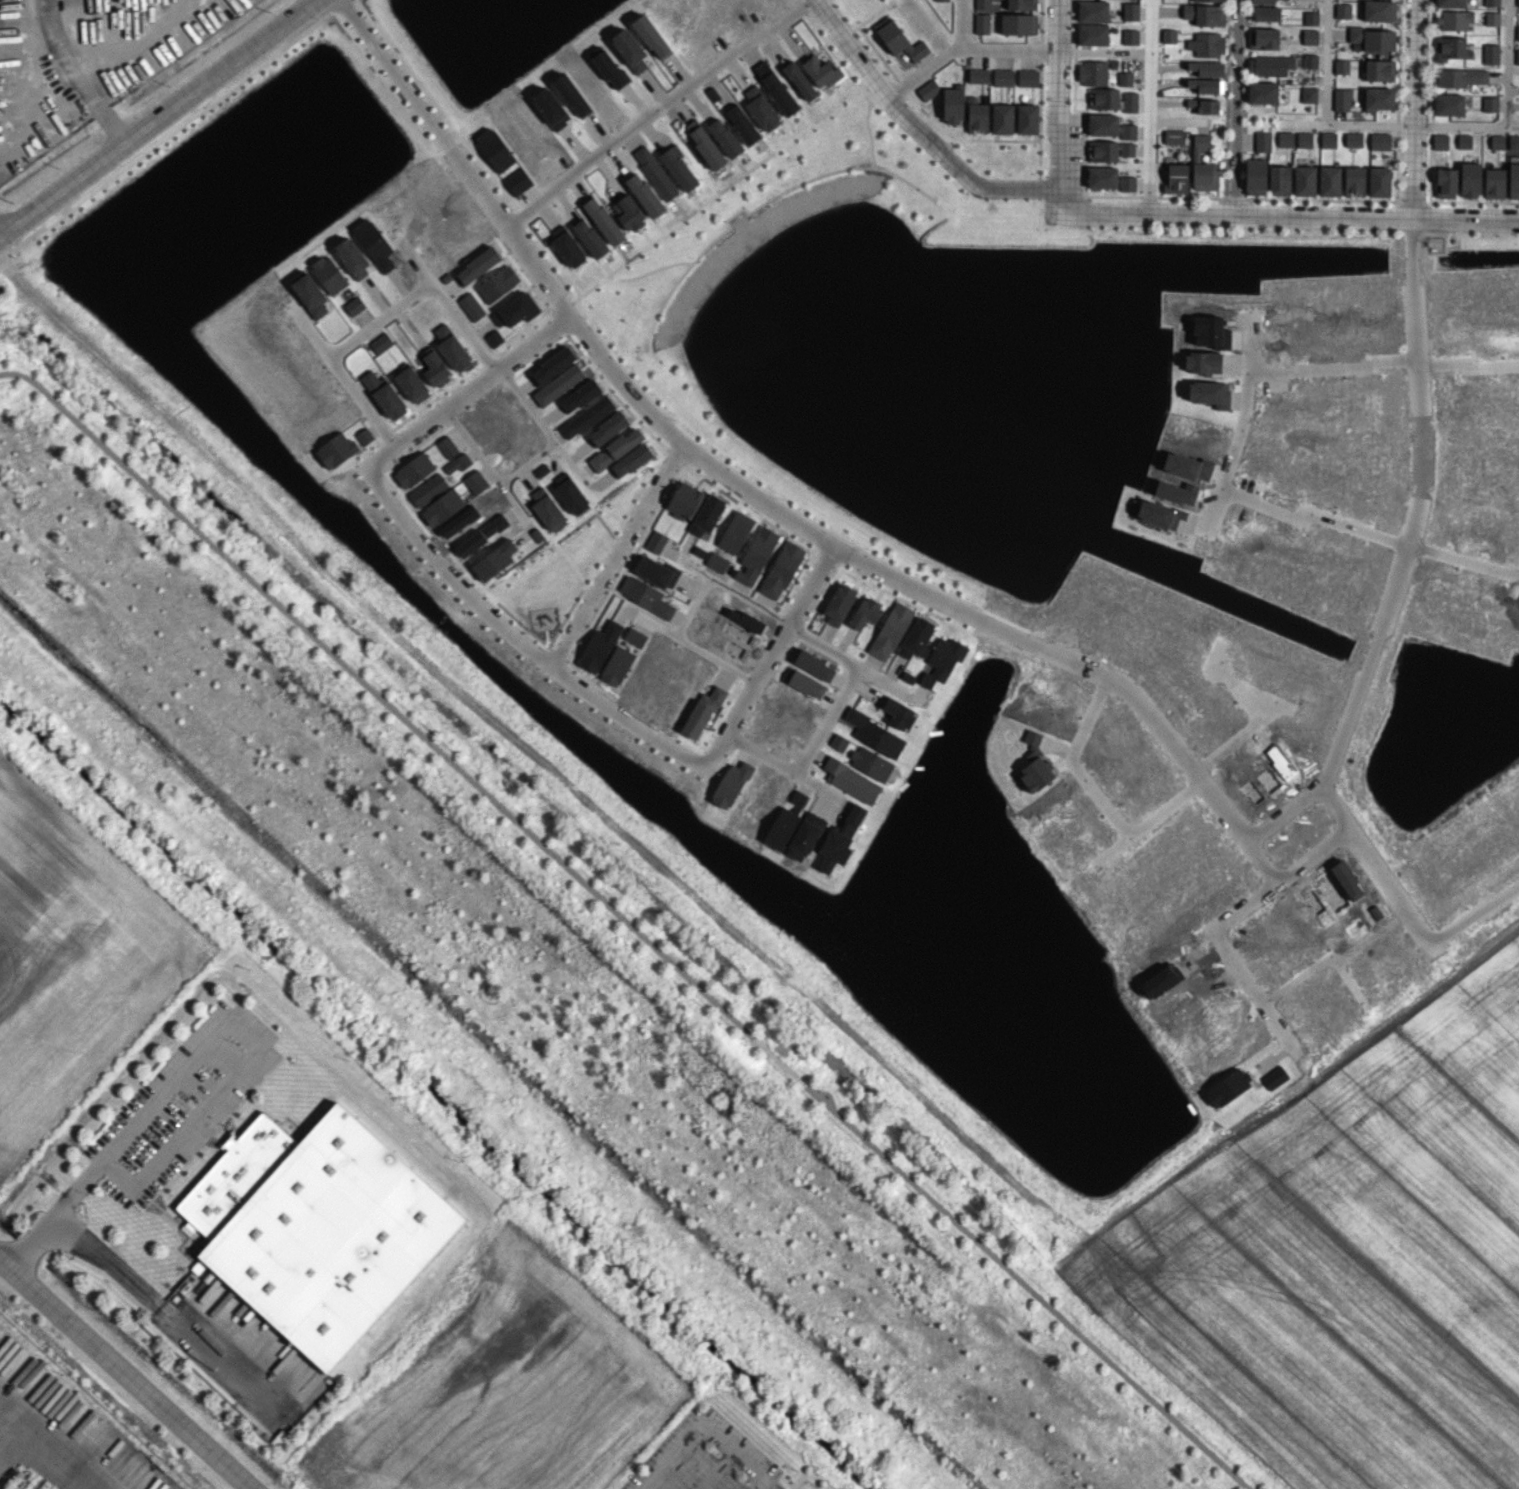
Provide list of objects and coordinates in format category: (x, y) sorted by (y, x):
building: (941, 0)
building: (1209, 0)
building: (1262, 1)
building: (1491, 2)
building: (1517, 2)
building: (1450, 3)
building: (983, 4)
building: (1021, 4)
building: (1342, 10)
building: (1379, 10)
building: (1093, 11)
building: (1130, 11)
building: (1264, 13)
building: (1204, 14)
building: (1310, 18)
building: (1492, 18)
building: (1454, 20)
road: (958, 23)
building: (981, 23)
building: (1018, 24)
building: (1517, 33)
building: (1092, 34)
building: (1168, 35)
building: (651, 36)
building: (1130, 36)
building: (1309, 36)
building: (1263, 38)
building: (1374, 38)
building: (900, 41)
building: (1206, 44)
road: (965, 47)
building: (1451, 48)
building: (629, 49)
road: (1103, 50)
building: (1490, 53)
road: (85, 55)
building: (1517, 56)
building: (903, 58)
building: (1310, 60)
road: (1326, 61)
building: (1269, 65)
building: (1341, 66)
building: (1206, 68)
building: (763, 69)
building: (1379, 70)
building: (821, 71)
building: (1092, 72)
building: (978, 75)
building: (1003, 77)
building: (1027, 77)
building: (1460, 77)
building: (1125, 78)
building: (799, 80)
building: (1206, 85)
building: (928, 89)
building: (1262, 92)
building: (779, 93)
road: (1058, 93)
building: (1308, 94)
building: (1104, 98)
building: (1341, 99)
building: (1379, 99)
building: (1129, 101)
building: (1489, 103)
building: (1449, 104)
building: (953, 105)
building: (1203, 105)
road: (1149, 106)
road: (1235, 106)
building: (760, 108)
road: (1506, 109)
road: (652, 113)
building: (977, 116)
road: (158, 118)
building: (1002, 118)
building: (1027, 118)
road: (1177, 120)
road: (1347, 123)
building: (742, 124)
building: (1103, 124)
road: (1512, 125)
road: (918, 128)
road: (173, 129)
building: (1127, 131)
building: (1173, 136)
building: (724, 137)
building: (1285, 139)
building: (1304, 139)
building: (1328, 139)
building: (1353, 139)
building: (1262, 141)
building: (1379, 141)
building: (1439, 141)
building: (1464, 141)
building: (1497, 142)
building: (1516, 142)
building: (707, 147)
building: (494, 149)
building: (1126, 149)
building: (1102, 151)
building: (1203, 165)
building: (678, 167)
building: (655, 172)
building: (1255, 176)
building: (1102, 177)
building: (1176, 179)
building: (1470, 179)
building: (1279, 180)
building: (1304, 180)
building: (517, 181)
building: (1329, 181)
building: (1354, 181)
building: (1379, 181)
building: (1513, 181)
building: (1446, 182)
building: (1127, 183)
building: (1494, 183)
building: (644, 195)
road: (1059, 196)
road: (1148, 212)
building: (628, 213)
road: (1376, 216)
building: (603, 220)
building: (589, 237)
building: (374, 244)
building: (568, 249)
road: (407, 257)
building: (329, 274)
road: (419, 287)
building: (354, 306)
building: (451, 347)
building: (552, 365)
road: (1333, 365)
road: (1468, 365)
building: (434, 367)
road: (338, 375)
building: (412, 384)
road: (464, 389)
building: (384, 394)
road: (1241, 427)
road: (545, 430)
building: (364, 436)
road: (1422, 447)
building: (615, 449)
building: (336, 450)
road: (480, 457)
building: (631, 460)
road: (569, 461)
building: (571, 496)
road: (759, 500)
building: (684, 501)
building: (547, 509)
road: (1314, 514)
building: (707, 516)
building: (735, 532)
building: (656, 542)
road: (614, 555)
building: (755, 555)
building: (494, 560)
road: (1463, 560)
building: (717, 562)
building: (781, 570)
building: (656, 571)
building: (645, 596)
building: (839, 603)
road: (692, 606)
building: (865, 613)
building: (890, 631)
building: (916, 638)
road: (515, 641)
building: (598, 647)
road: (820, 647)
road: (767, 655)
building: (942, 660)
road: (878, 679)
building: (806, 684)
road: (1237, 686)
building: (703, 711)
building: (899, 714)
road: (826, 721)
building: (875, 734)
road: (1234, 739)
building: (838, 742)
road: (1071, 762)
building: (871, 763)
road: (779, 766)
building: (851, 780)
road: (1149, 820)
building: (786, 821)
road: (1376, 866)
road: (1474, 912)
road: (1221, 921)
road: (625, 924)
road: (1334, 962)
road: (1349, 983)
road: (207, 1043)
building: (316, 1229)
road: (150, 1299)
road: (126, 1373)
road: (705, 1433)

